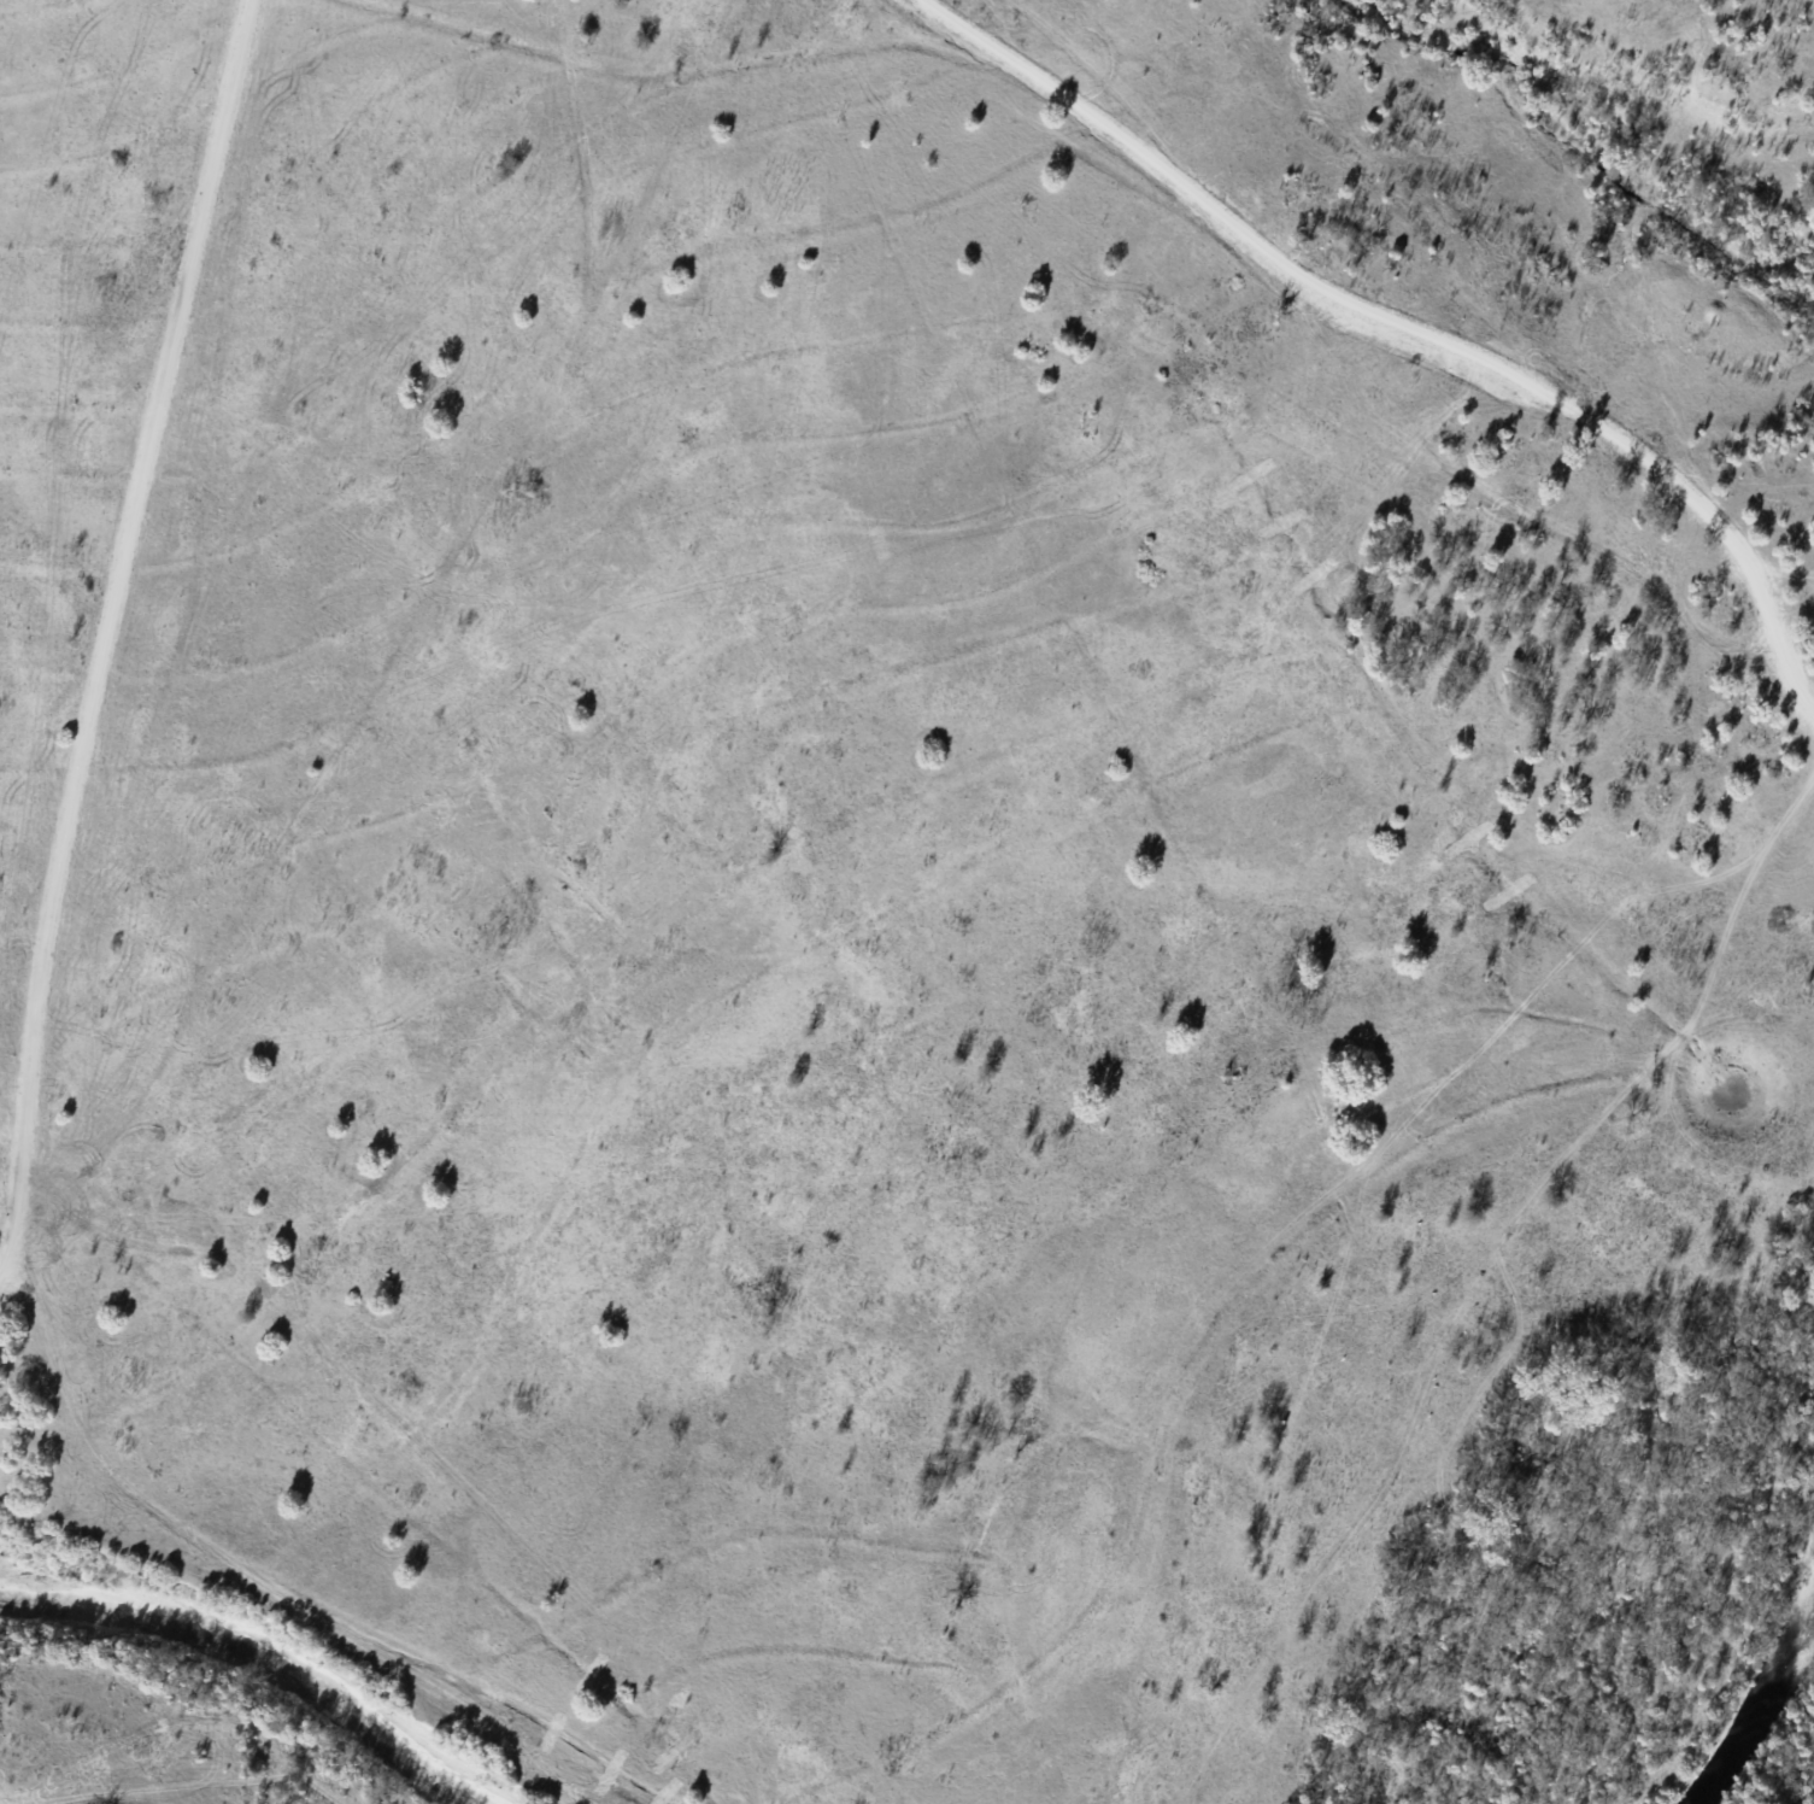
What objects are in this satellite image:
road: (102, 614)

